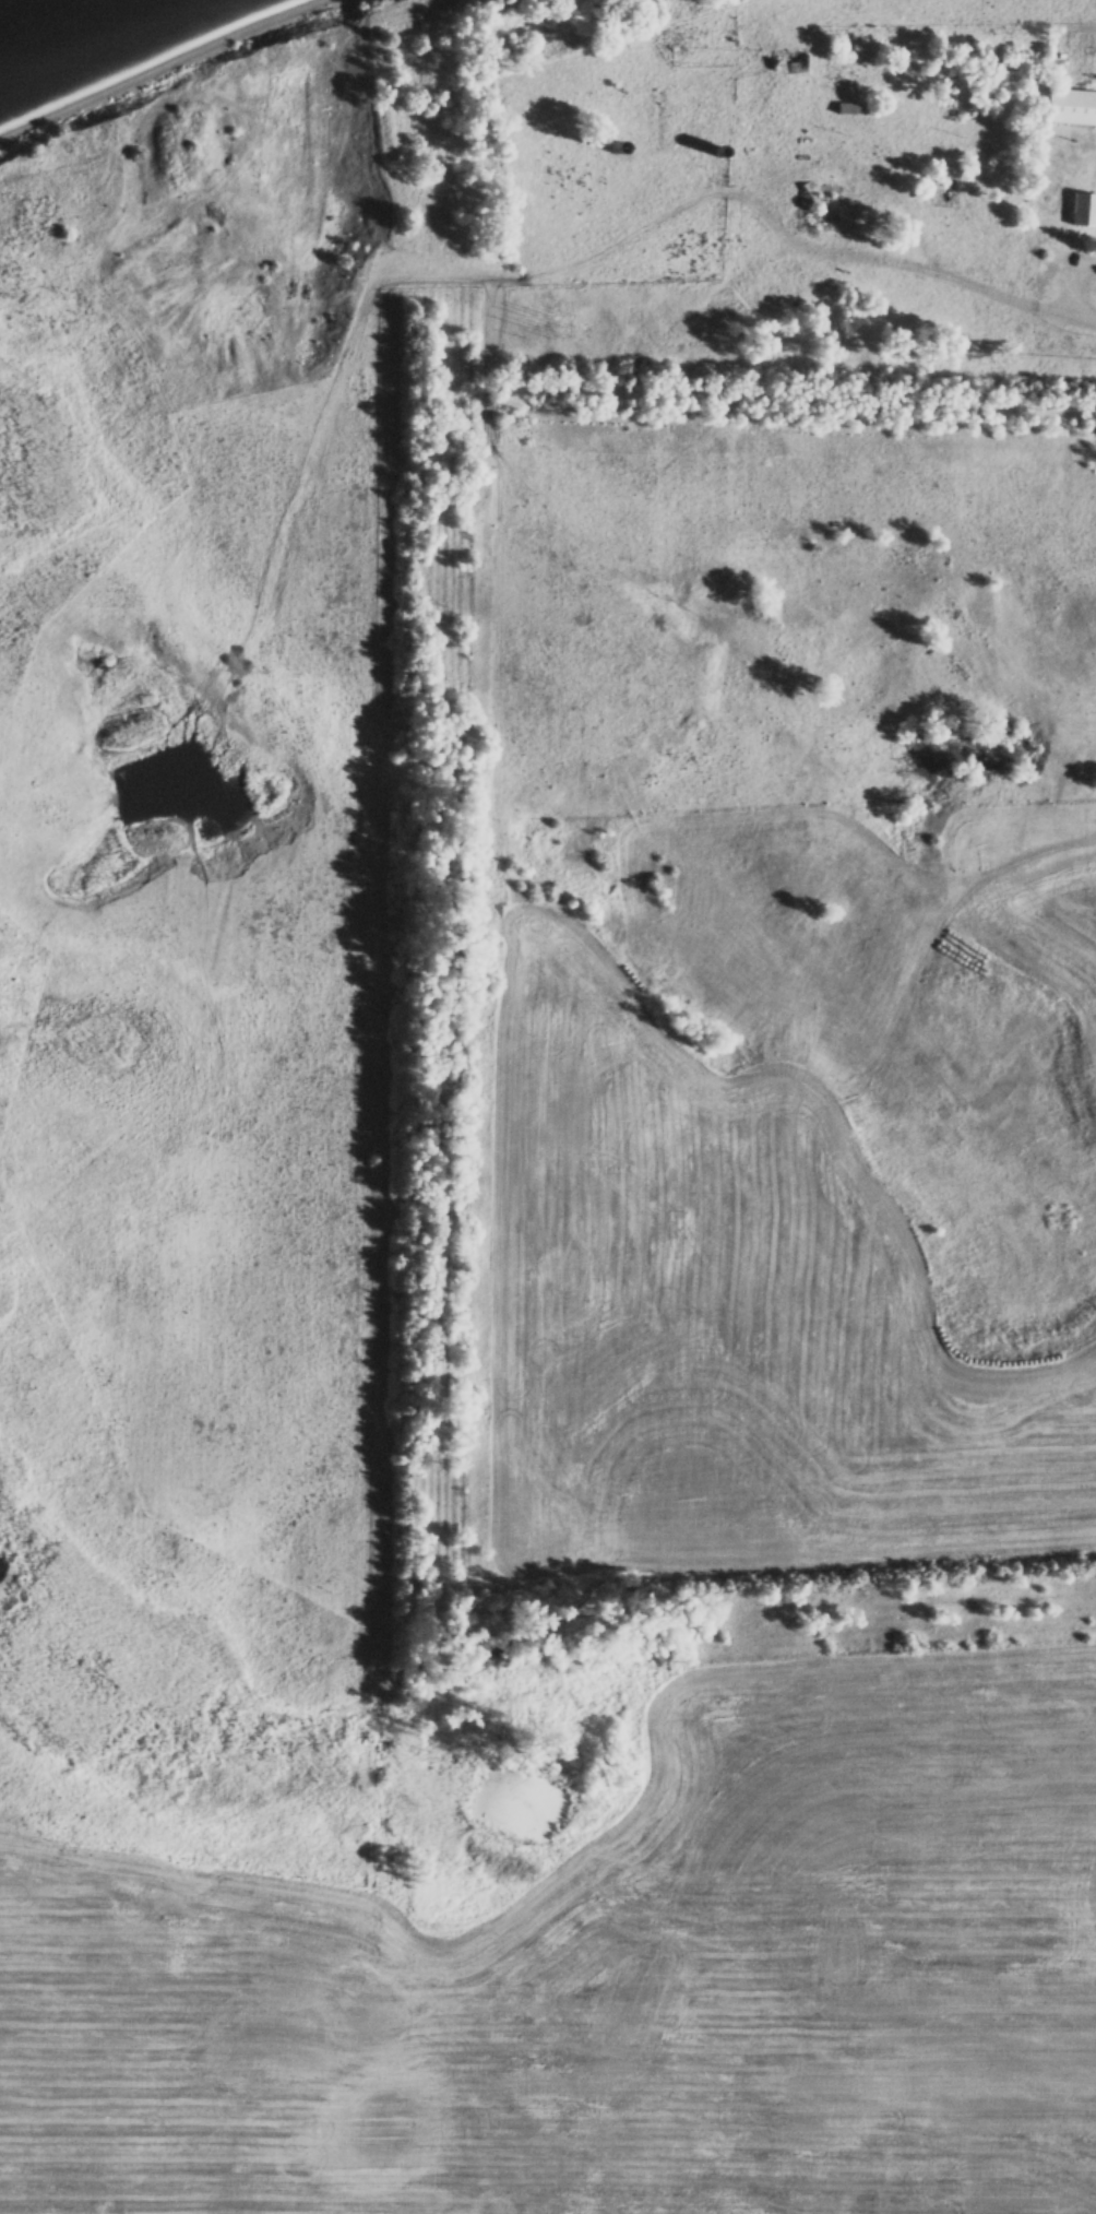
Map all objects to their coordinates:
building: (1070, 107)
building: (846, 108)
building: (1084, 210)
road: (1084, 288)
road: (962, 900)

